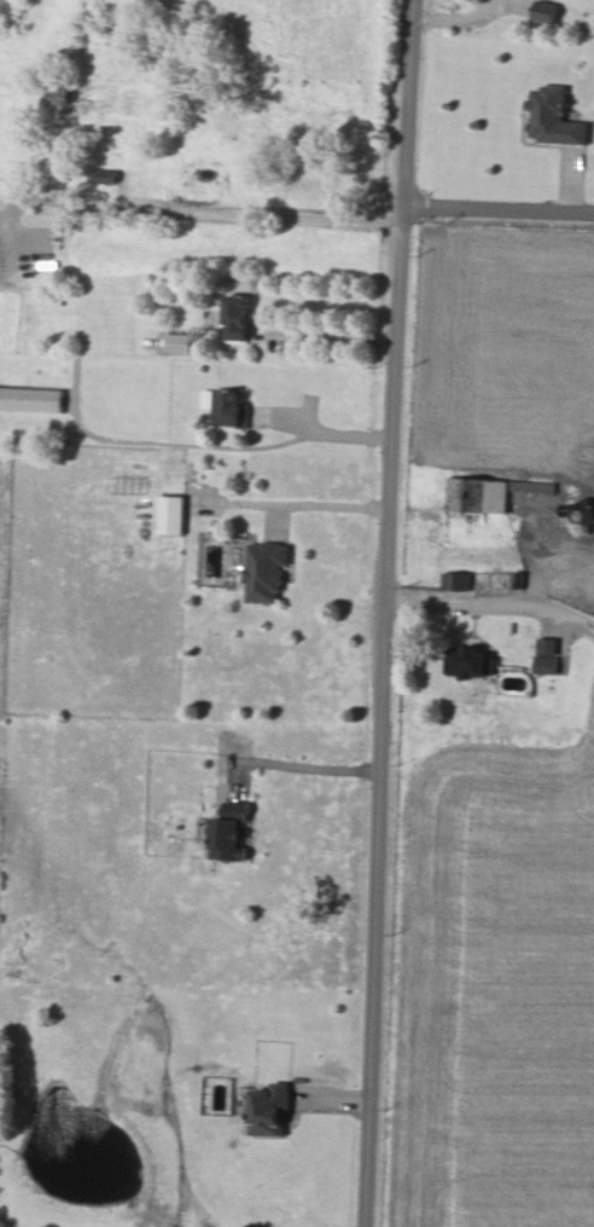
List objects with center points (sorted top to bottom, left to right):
building: (547, 11)
road: (459, 17)
crop: (167, 117)
building: (555, 117)
building: (107, 176)
road: (181, 199)
road: (500, 207)
building: (240, 318)
crop: (7, 322)
road: (331, 337)
building: (182, 343)
crop: (509, 349)
building: (33, 400)
building: (229, 407)
road: (203, 434)
building: (478, 496)
road: (295, 505)
building: (174, 515)
building: (268, 573)
building: (458, 581)
crop: (588, 592)
road: (491, 601)
road: (385, 613)
building: (547, 647)
building: (471, 662)
building: (547, 665)
road: (311, 766)
building: (233, 835)
crop: (497, 986)
building: (273, 1110)

